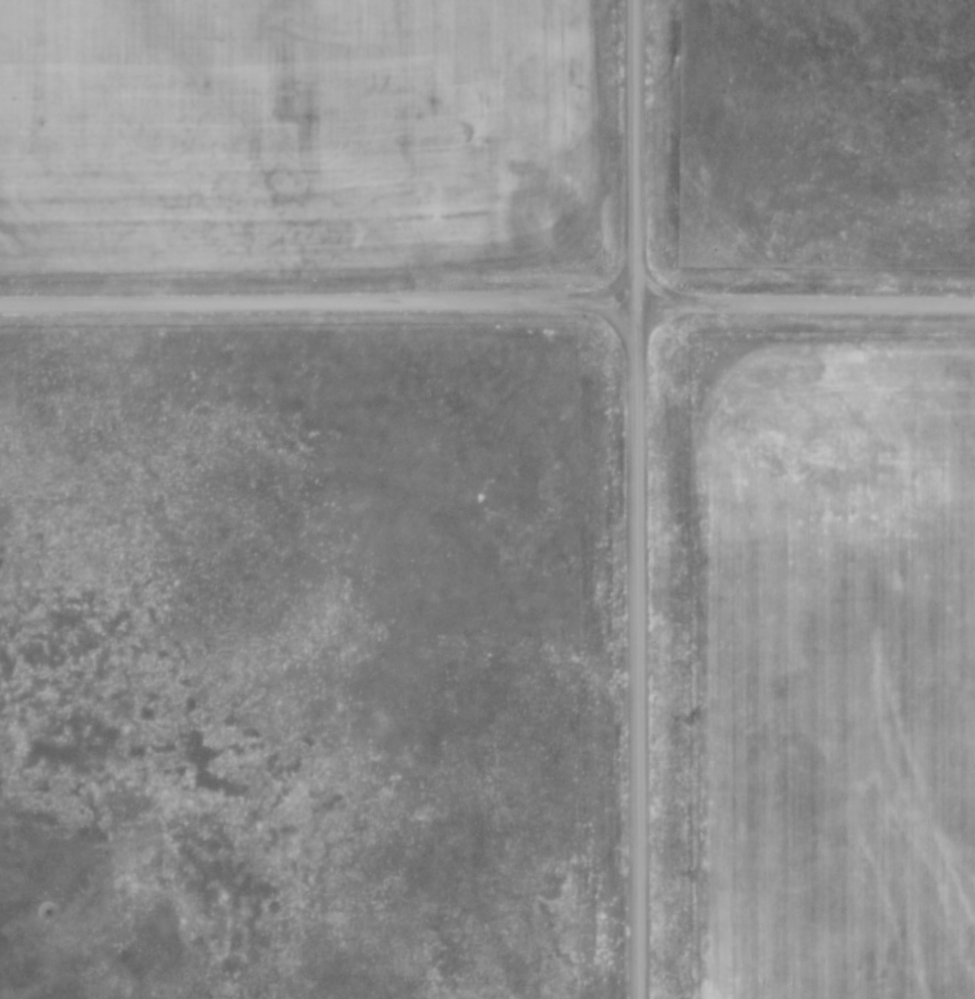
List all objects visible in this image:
road: (487, 303)
road: (635, 499)

